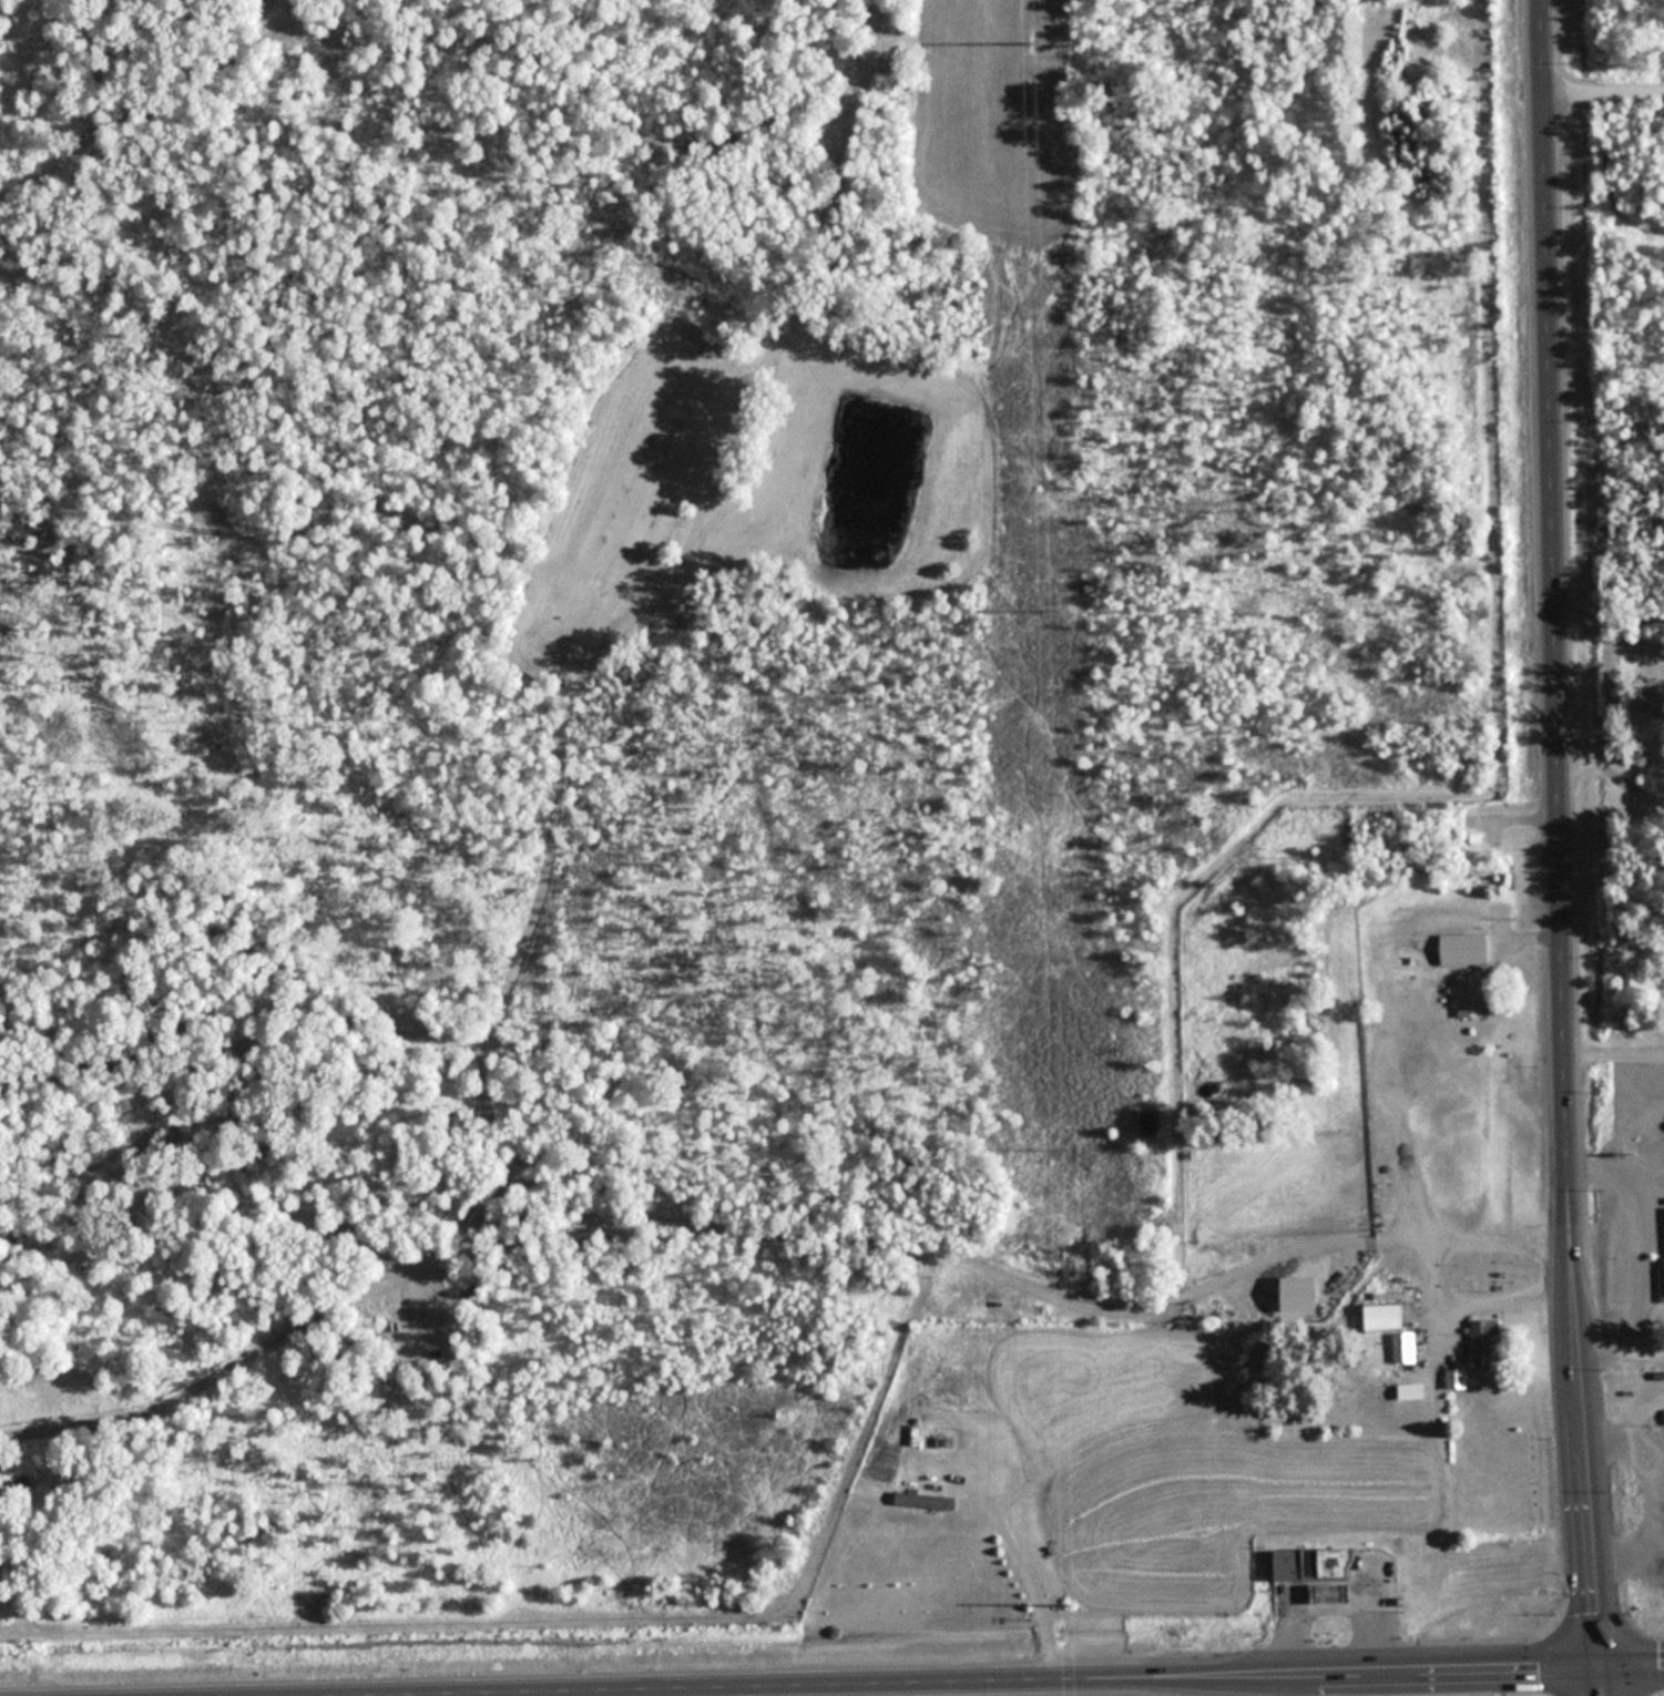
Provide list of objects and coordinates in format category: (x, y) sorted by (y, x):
power tower: (1030, 41)
road: (1603, 91)
power tower: (1043, 610)
road: (1610, 615)
building: (1654, 702)
road: (1613, 773)
road: (1560, 848)
building: (1464, 948)
building: (1471, 995)
road: (1614, 1051)
power tower: (1055, 1148)
road: (1631, 1234)
building: (1387, 1317)
building: (1487, 1339)
building: (1406, 1347)
road: (1621, 1353)
road: (1645, 1372)
building: (1459, 1378)
building: (1415, 1390)
building: (928, 1503)
building: (1314, 1562)
road: (1032, 1581)
building: (1335, 1592)
power tower: (1065, 1605)
road: (1632, 1662)
traffic signals: (1600, 1663)
road: (917, 1682)
road: (764, 1690)
road: (660, 1692)
road: (581, 1693)
road: (370, 1694)

